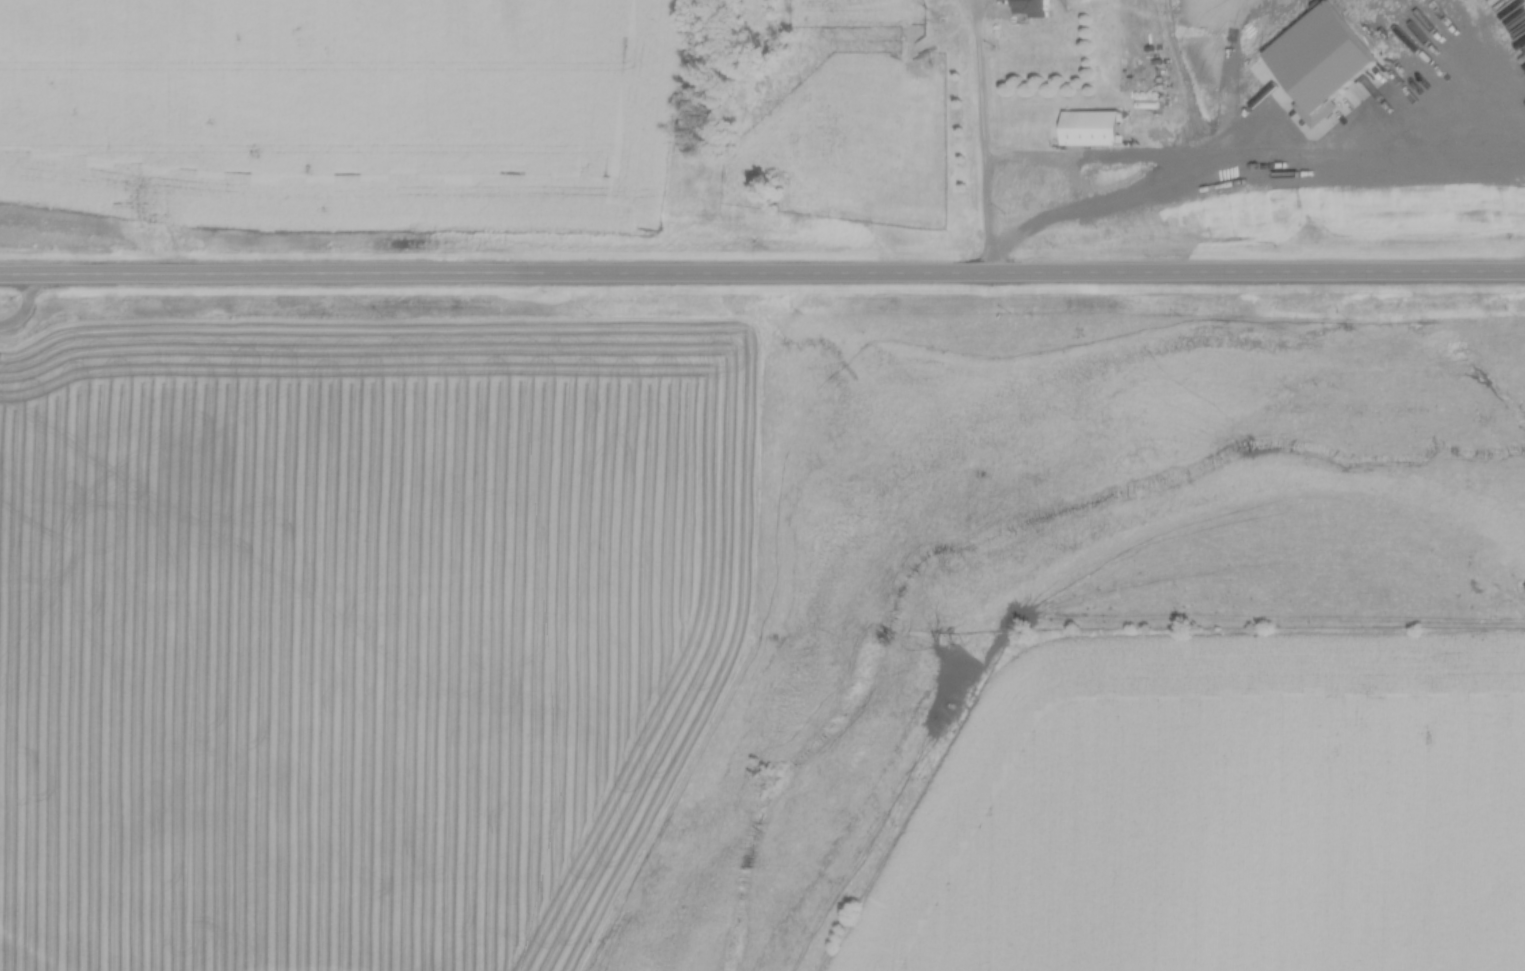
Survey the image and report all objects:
building: (1028, 5)
building: (1089, 124)
road: (984, 141)
building: (1245, 163)
building: (919, 192)
road: (762, 277)
road: (23, 310)

